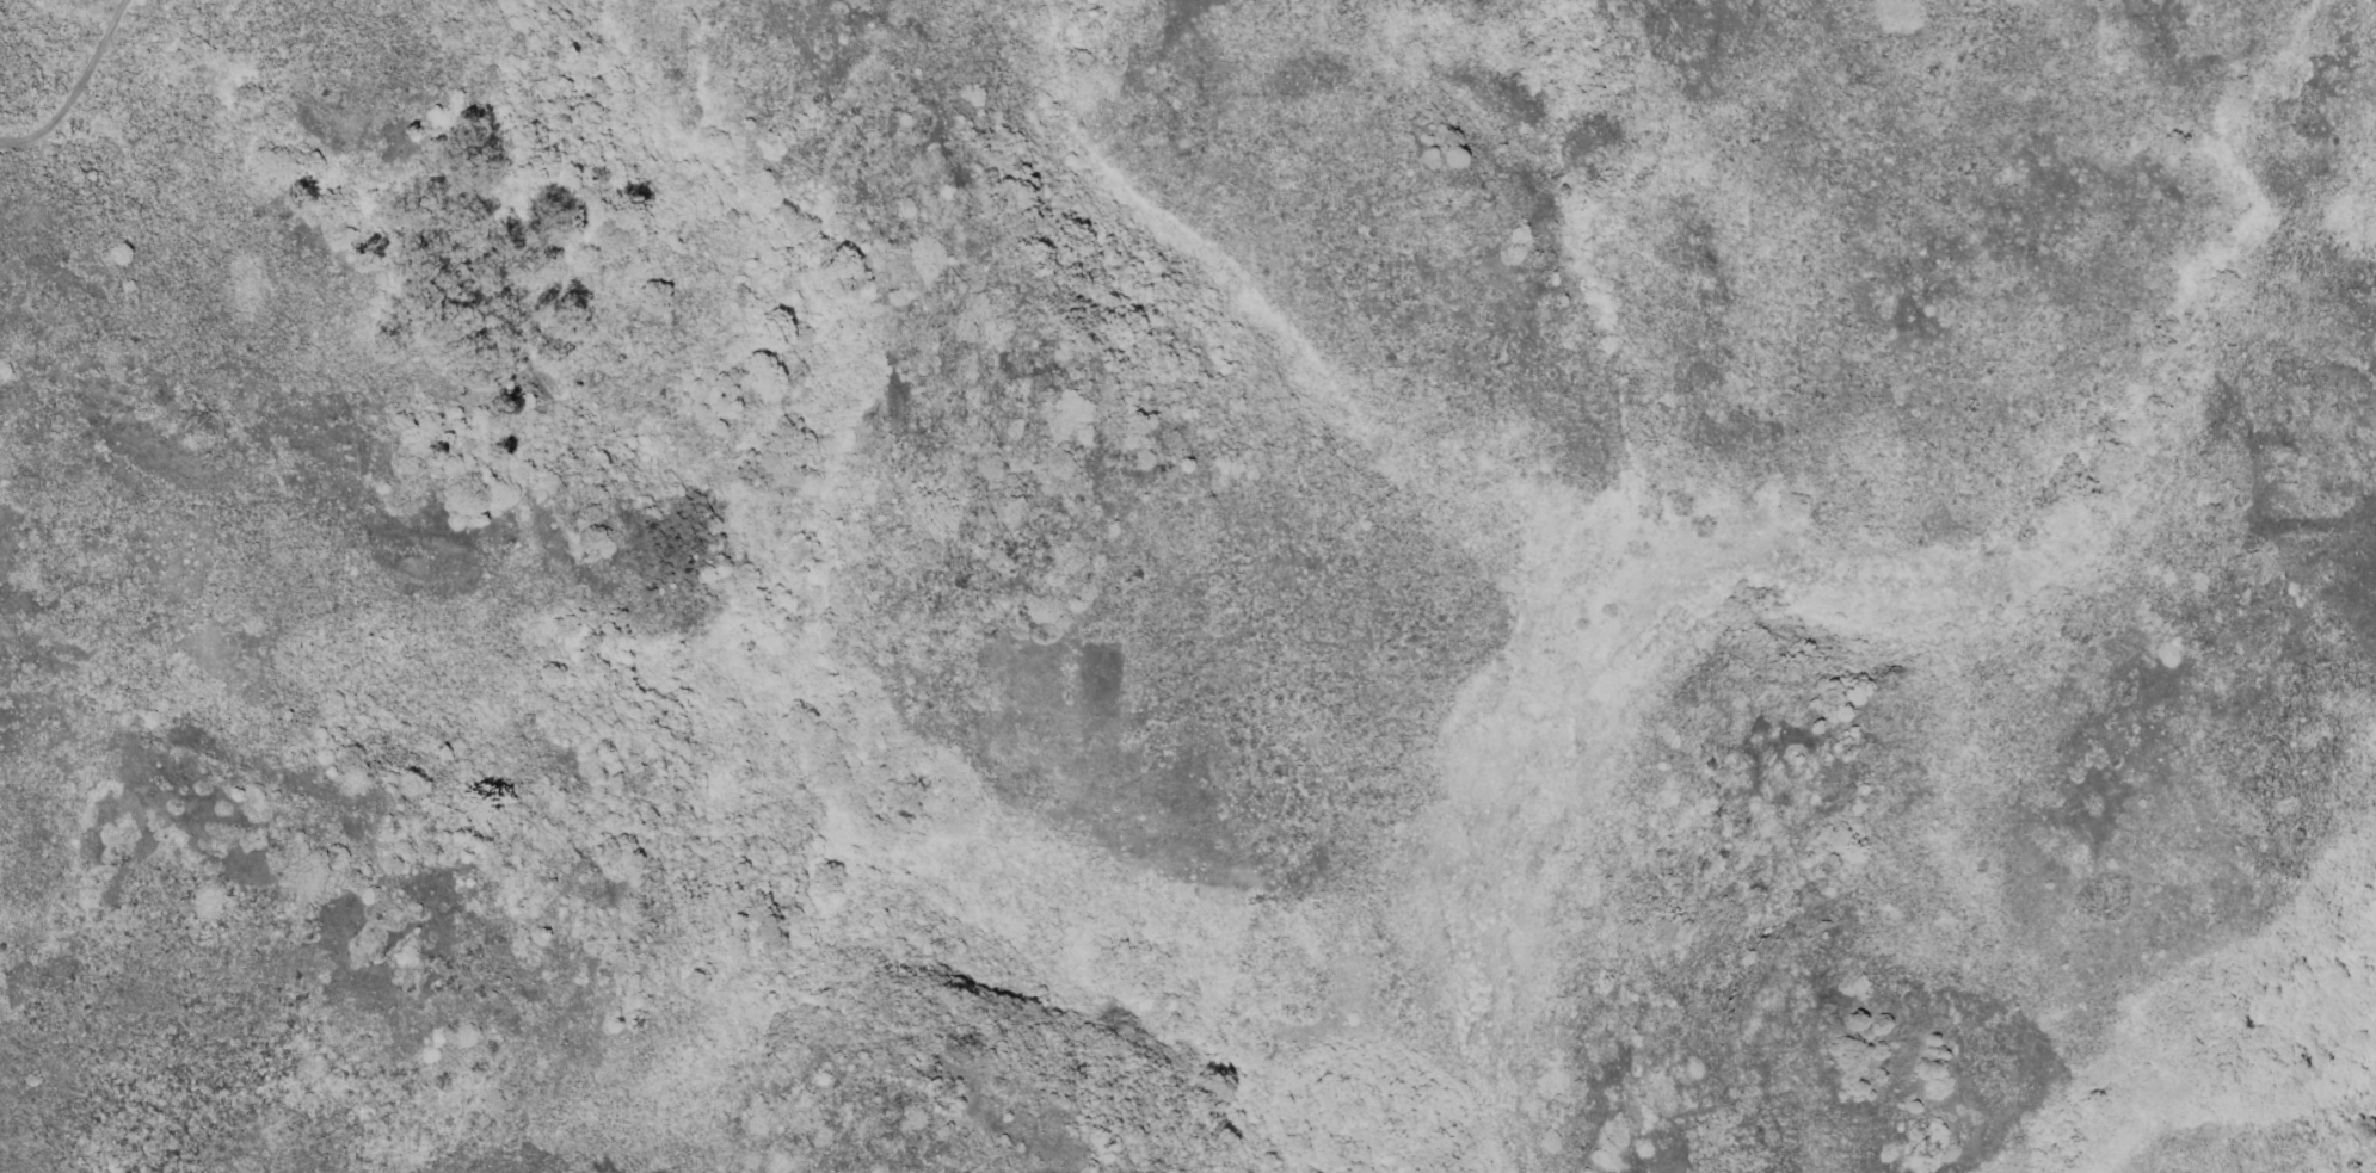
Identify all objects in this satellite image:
road: (80, 92)

